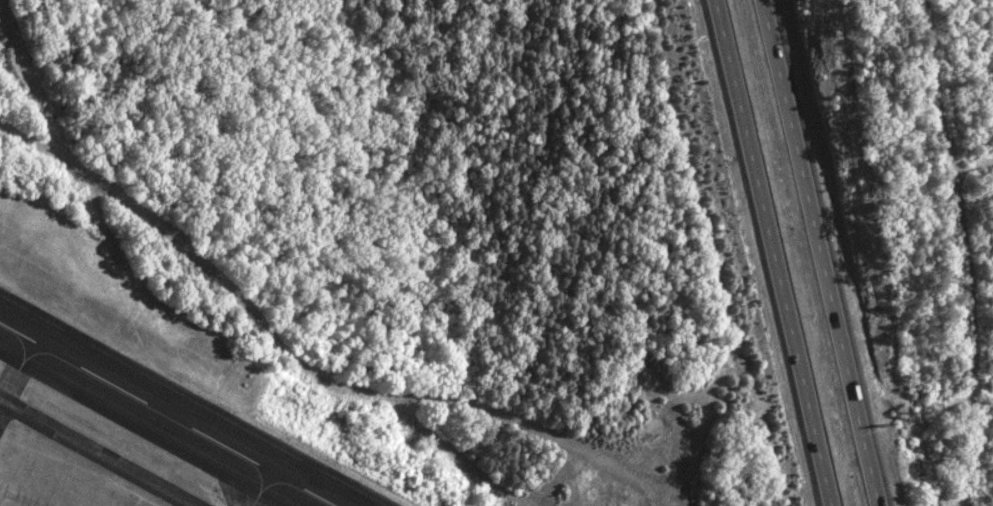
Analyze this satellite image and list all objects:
road: (772, 252)
road: (823, 252)
airport taxiway: (9, 385)
airport: (208, 393)
airport runway: (198, 397)
airport runway: (133, 432)
airport taxiway: (96, 453)
airport taxiway: (253, 502)

